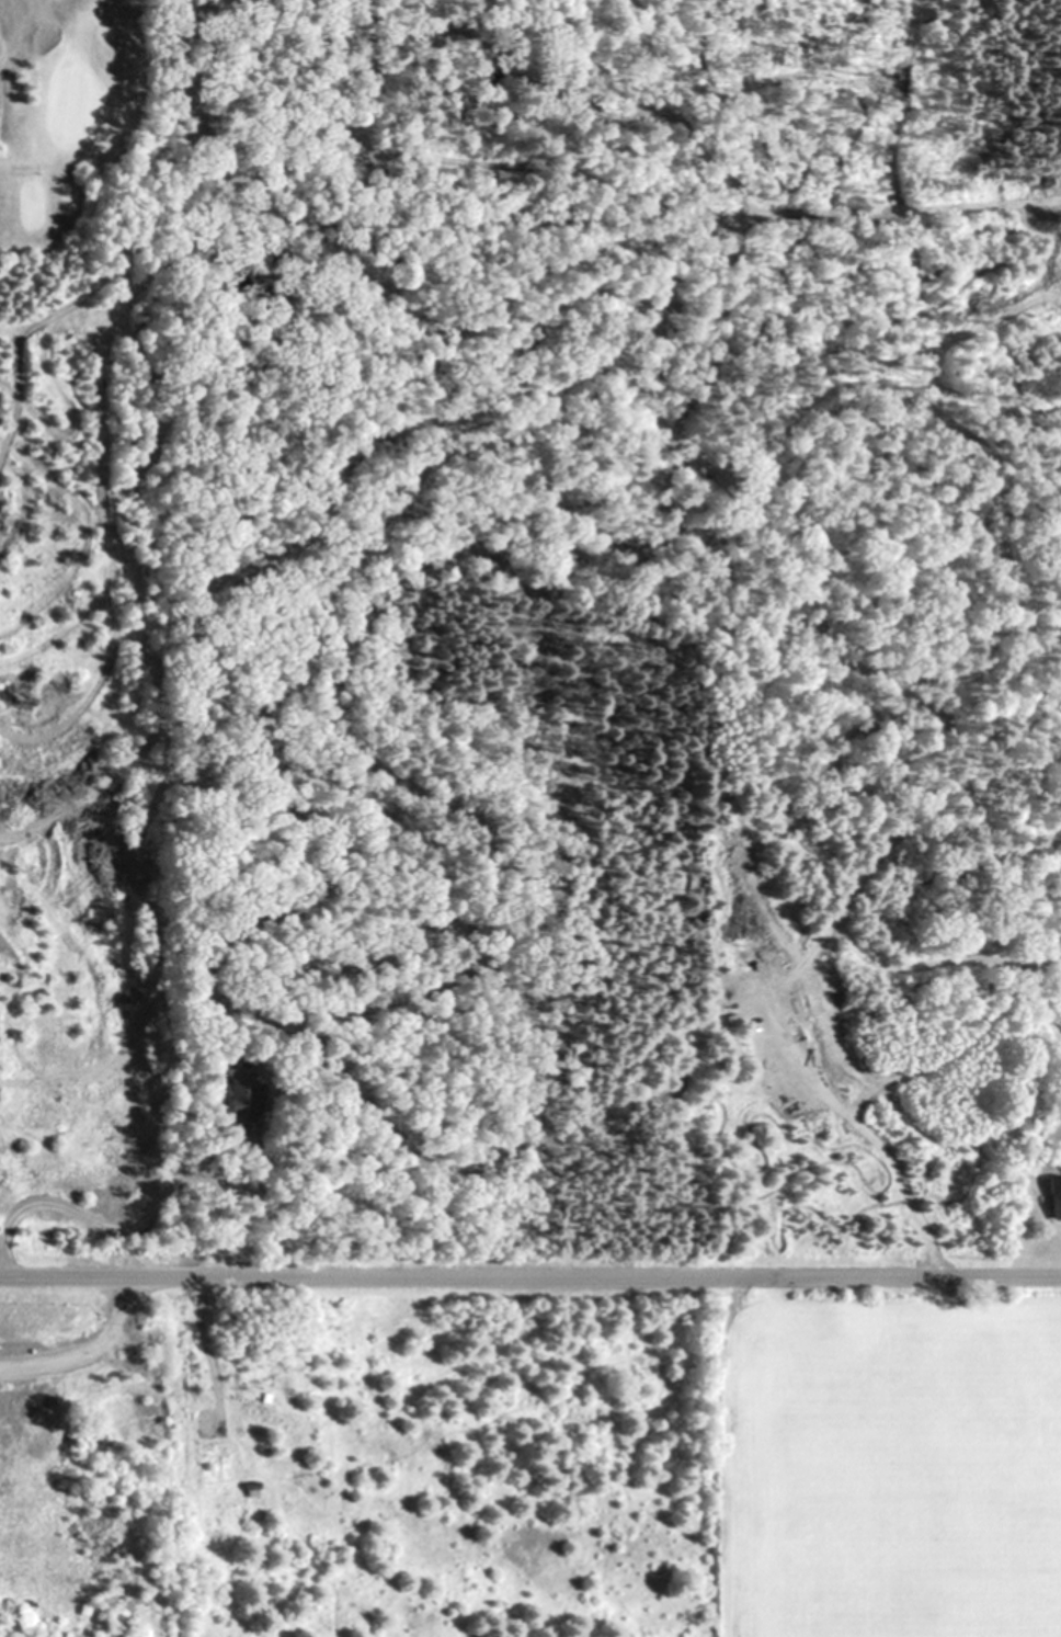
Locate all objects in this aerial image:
park: (65, 109)
building: (240, 1106)
building: (1054, 1196)
road: (529, 1277)
quarry: (90, 1460)

